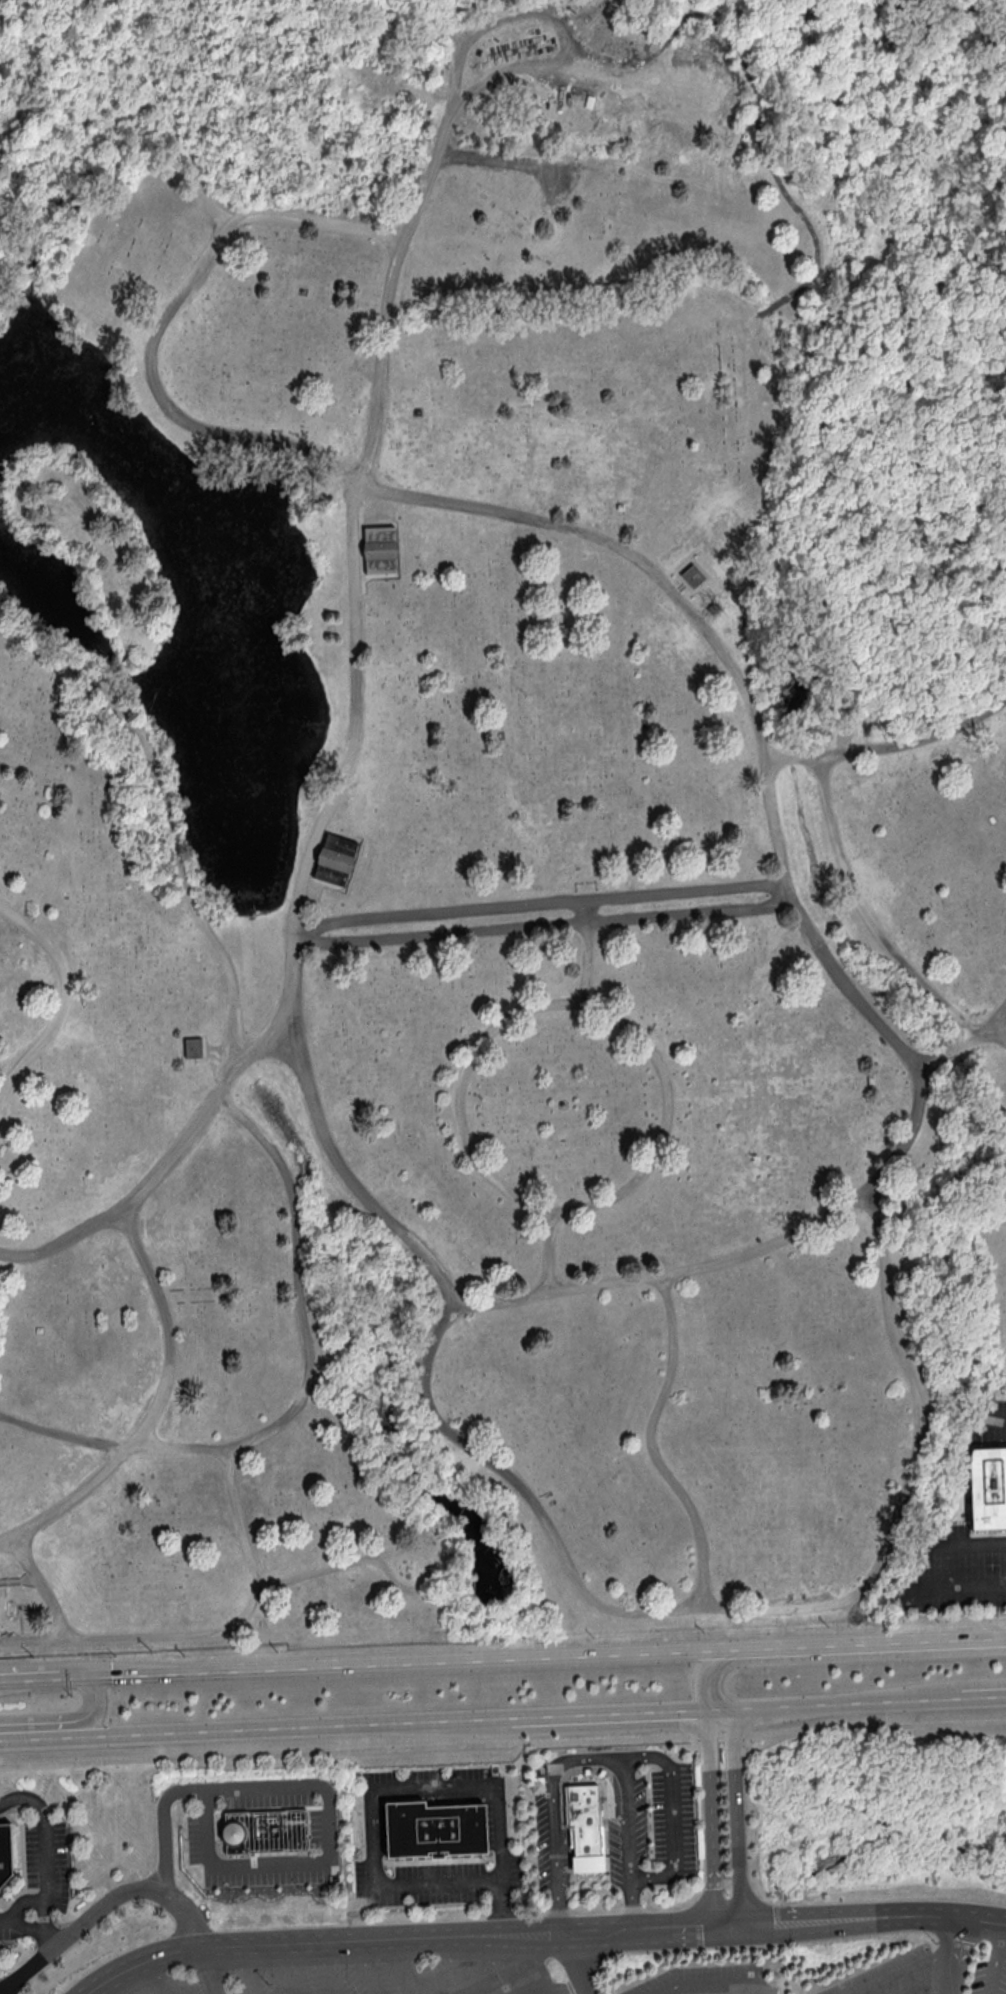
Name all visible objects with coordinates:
road: (485, 26)
building: (381, 551)
building: (693, 577)
road: (109, 679)
road: (753, 703)
road: (889, 746)
road: (349, 764)
park: (495, 810)
road: (170, 822)
building: (337, 861)
road: (860, 901)
road: (539, 904)
road: (543, 927)
road: (585, 952)
road: (66, 995)
road: (978, 1032)
road: (1002, 1038)
road: (963, 1040)
building: (189, 1048)
road: (162, 1167)
road: (547, 1210)
road: (548, 1250)
road: (304, 1394)
road: (157, 1406)
road: (995, 1421)
road: (909, 1471)
building: (987, 1487)
road: (970, 1547)
road: (389, 1551)
road: (957, 1589)
road: (633, 1612)
road: (186, 1634)
road: (34, 1638)
road: (546, 1654)
road: (835, 1657)
traffic signals: (86, 1674)
road: (43, 1675)
road: (923, 1691)
road: (923, 1703)
road: (774, 1709)
road: (609, 1716)
road: (66, 1720)
road: (255, 1730)
road: (503, 1743)
road: (591, 1756)
parking lot: (426, 1776)
road: (562, 1781)
road: (402, 1786)
parking lot: (268, 1795)
road: (673, 1814)
road: (737, 1816)
parking lot: (665, 1817)
road: (713, 1818)
road: (163, 1824)
building: (584, 1825)
parking lot: (319, 1827)
building: (434, 1828)
building: (264, 1830)
road: (45, 1832)
parking lot: (195, 1838)
parking lot: (541, 1840)
parking lot: (615, 1851)
building: (6, 1852)
parking lot: (47, 1857)
road: (327, 1858)
parking lot: (266, 1875)
parking lot: (434, 1880)
road: (102, 1905)
road: (41, 1912)
road: (983, 1918)
road: (8, 1921)
parking lot: (4, 1931)
road: (47, 1932)
road: (518, 1936)
road: (953, 1954)
road: (995, 1958)
road: (576, 1964)
road: (499, 1965)
road: (535, 1965)
road: (453, 1966)
road: (371, 1967)
road: (410, 1967)
road: (326, 1968)
road: (285, 1969)
road: (205, 1970)
road: (246, 1970)
parking lot: (932, 1970)
road: (903, 1971)
parking lot: (379, 1975)
parking lot: (708, 1979)
road: (173, 1980)
road: (710, 1983)
road: (103, 1991)
road: (754, 1991)
road: (945, 1991)

